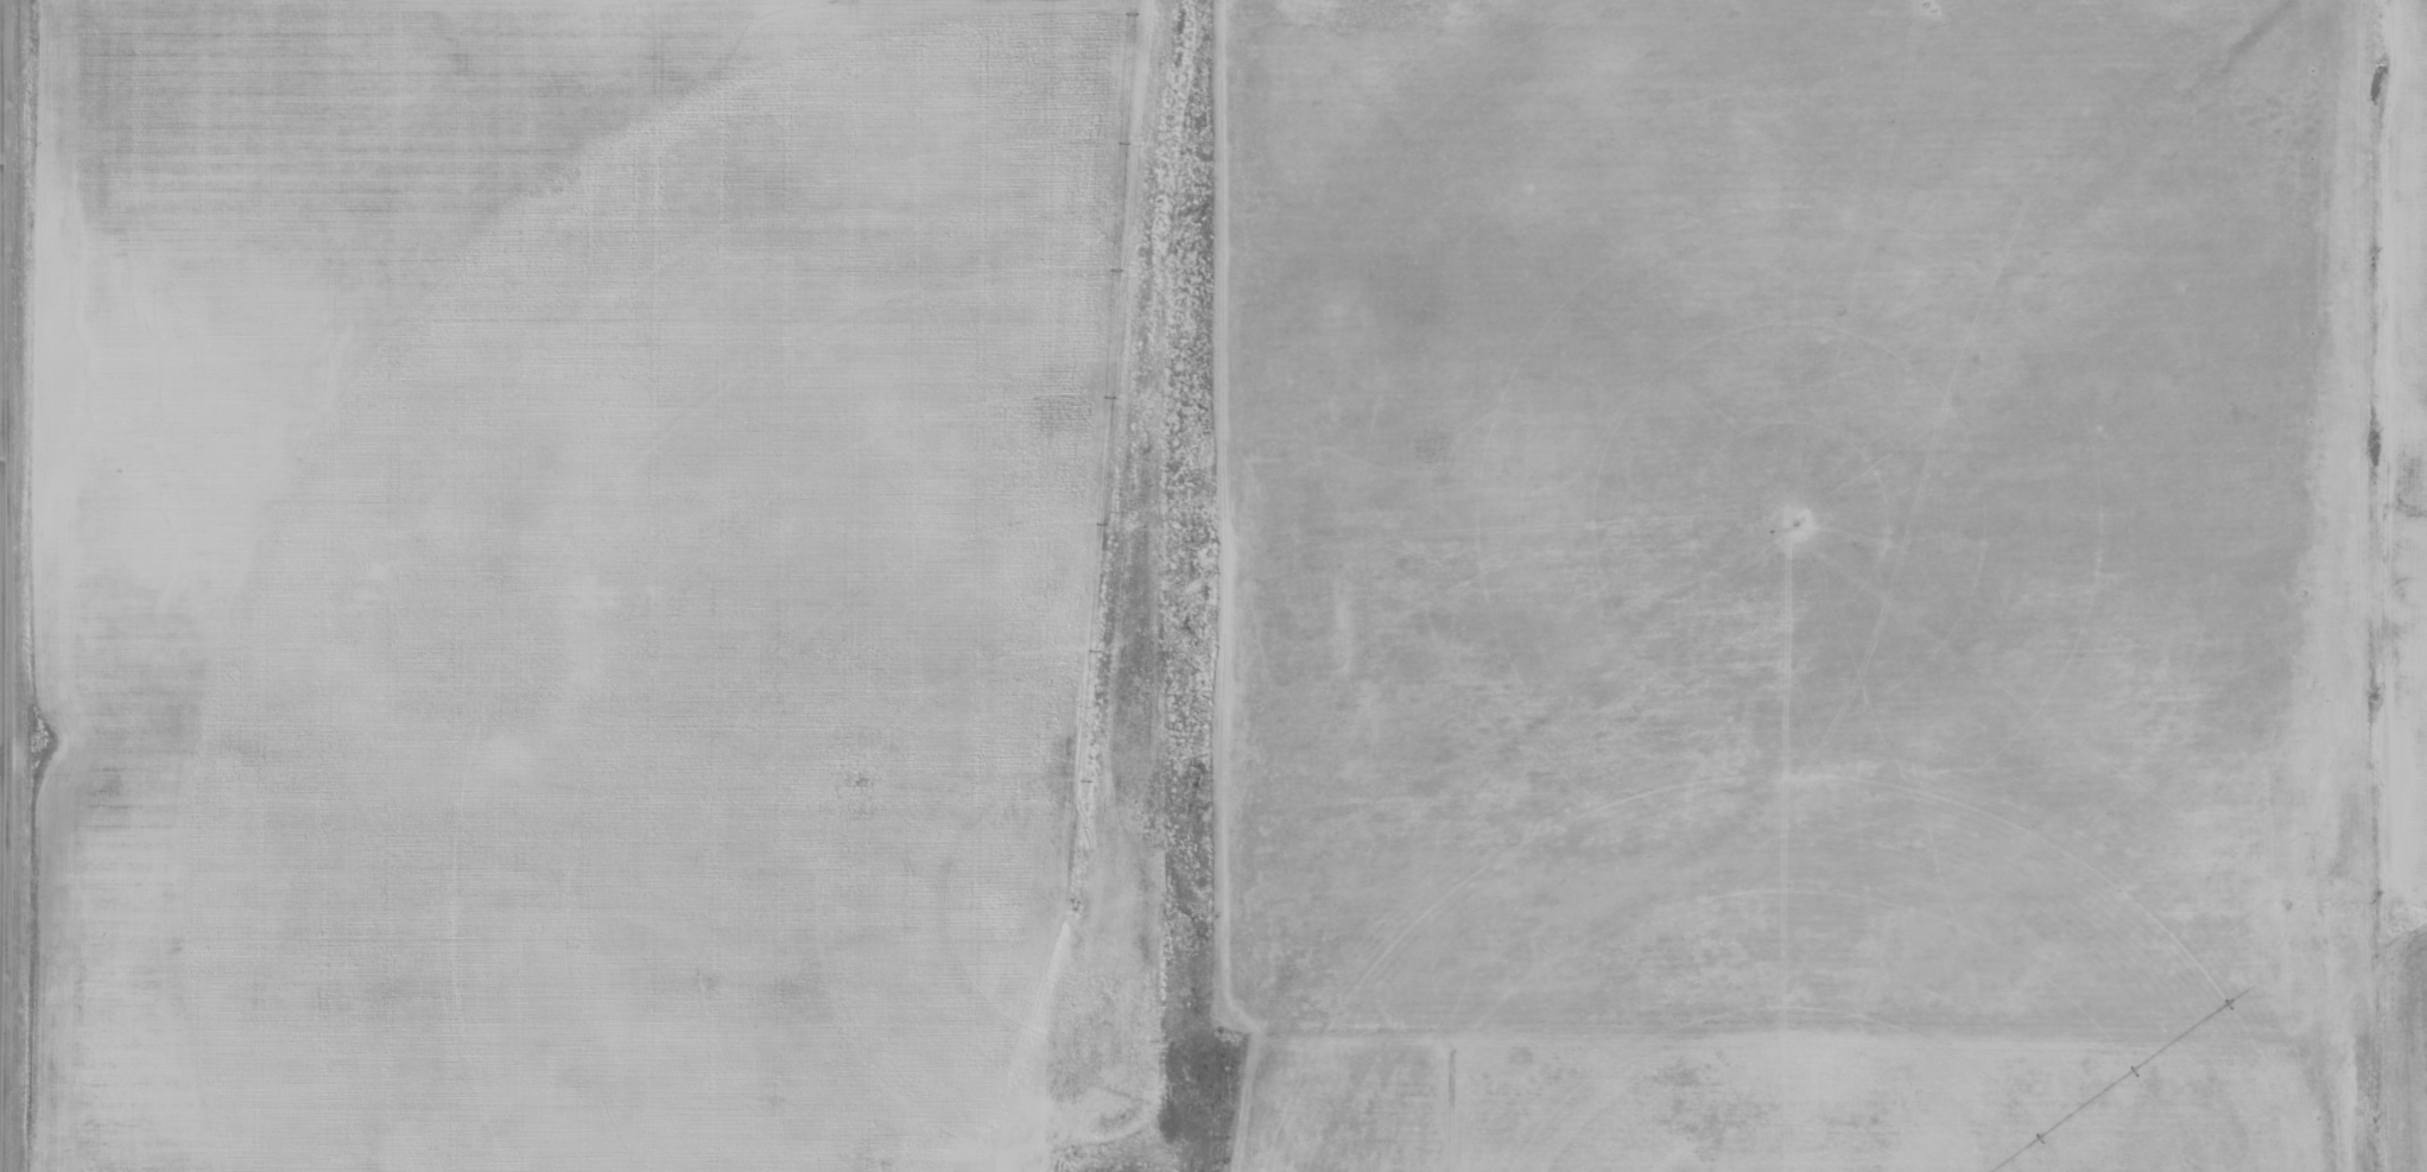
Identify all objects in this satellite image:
road: (1354, 673)

